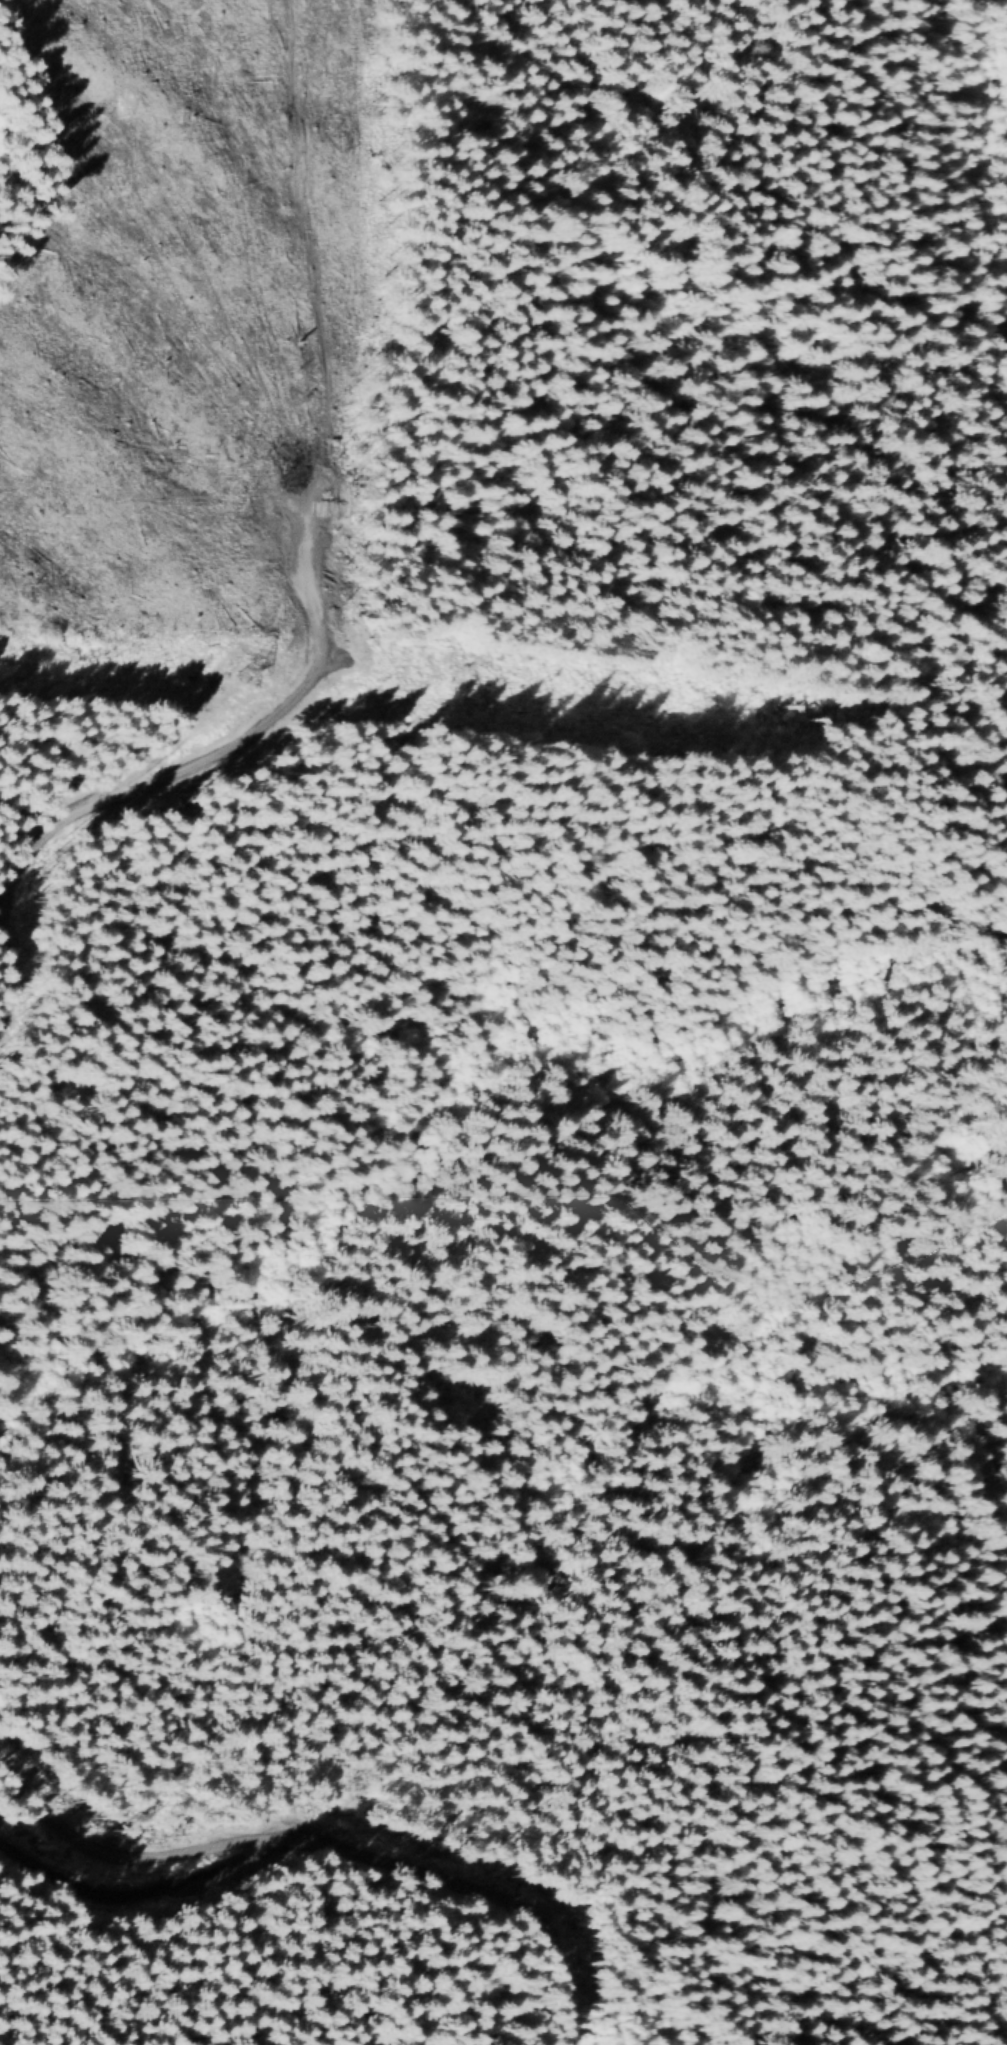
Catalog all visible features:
power tower: (246, 675)
road: (39, 812)
road: (210, 1959)

